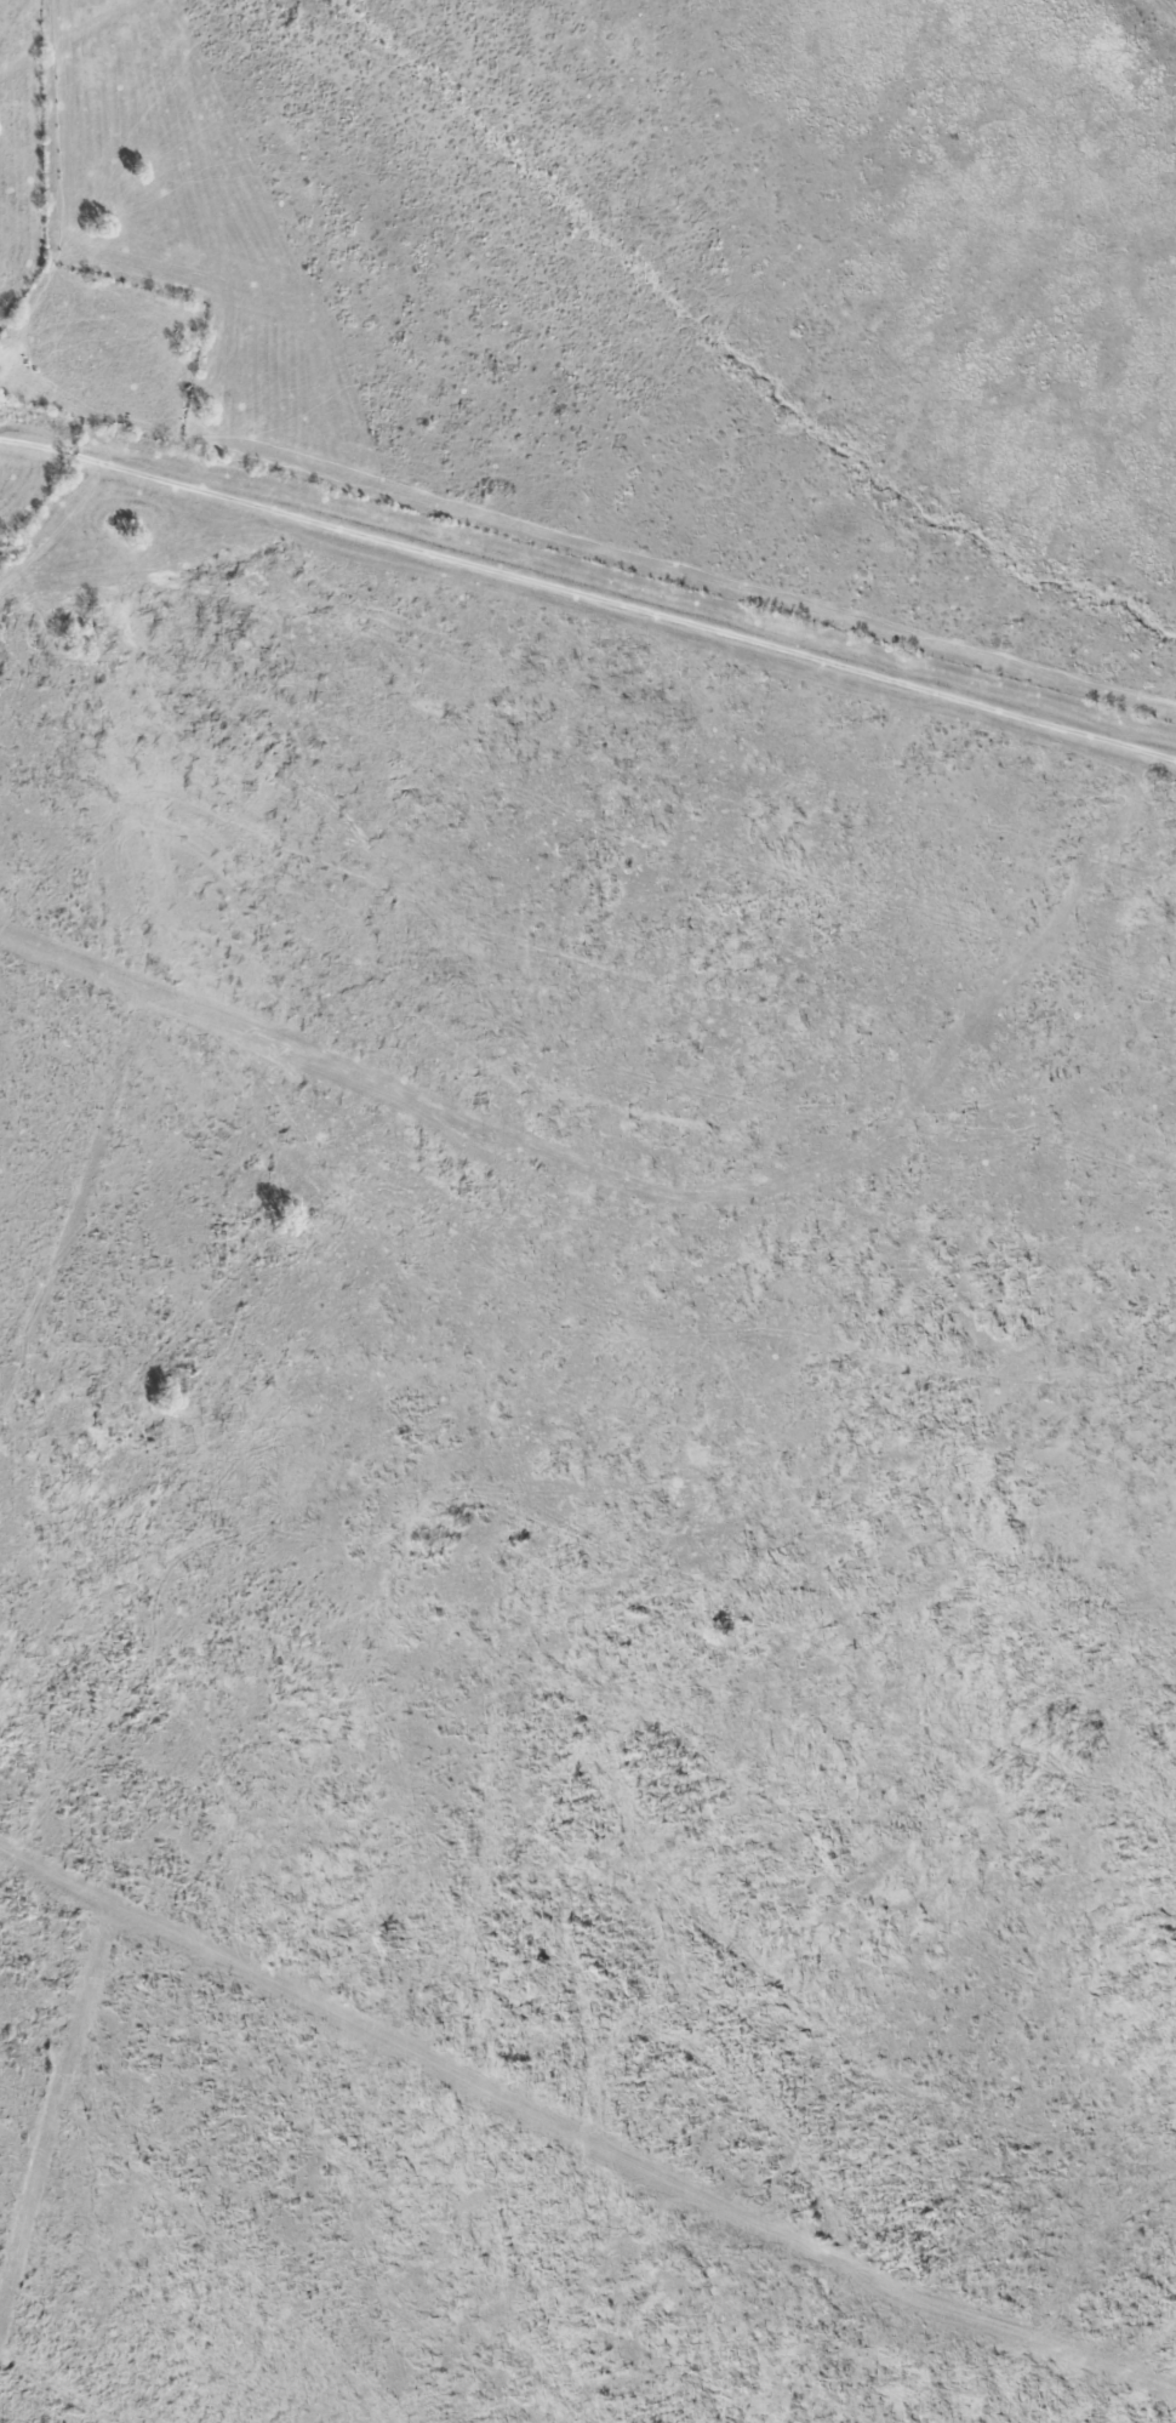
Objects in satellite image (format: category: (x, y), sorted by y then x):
road: (588, 572)

